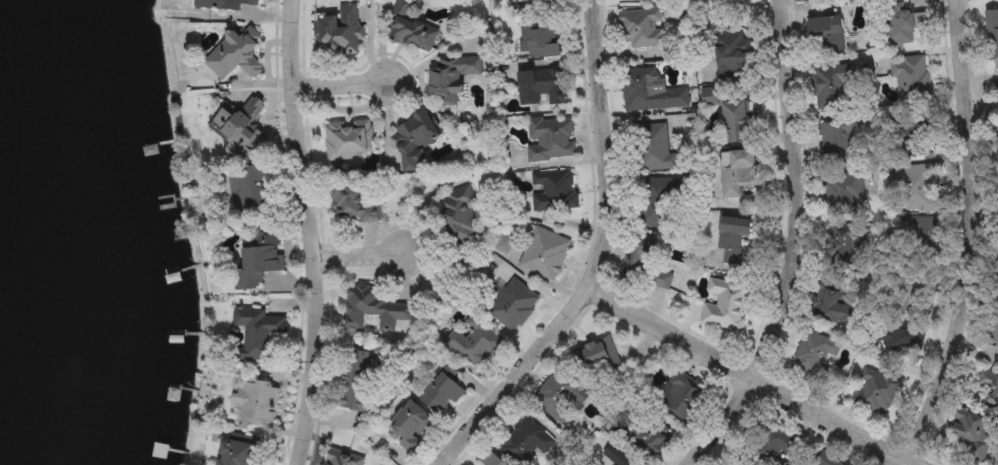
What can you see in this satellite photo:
building: (804, 0)
building: (734, 1)
building: (224, 4)
building: (901, 27)
building: (409, 29)
building: (641, 31)
building: (338, 32)
building: (824, 35)
building: (541, 42)
building: (993, 43)
building: (732, 55)
building: (234, 57)
building: (449, 79)
building: (911, 79)
road: (338, 85)
building: (831, 86)
building: (542, 87)
building: (650, 92)
building: (733, 114)
building: (242, 129)
building: (915, 136)
building: (551, 139)
building: (349, 140)
building: (413, 142)
building: (837, 142)
building: (655, 149)
building: (736, 173)
building: (252, 188)
building: (917, 189)
building: (554, 191)
building: (842, 195)
building: (658, 204)
building: (355, 205)
building: (460, 214)
road: (303, 233)
road: (965, 236)
building: (733, 238)
building: (916, 240)
road: (789, 244)
building: (844, 246)
building: (544, 254)
road: (354, 256)
road: (598, 258)
building: (259, 259)
building: (646, 265)
building: (513, 307)
building: (724, 307)
building: (836, 307)
building: (372, 309)
building: (904, 318)
building: (259, 333)
building: (473, 343)
building: (595, 355)
building: (814, 357)
road: (740, 373)
building: (357, 381)
building: (989, 386)
building: (874, 389)
building: (440, 394)
building: (558, 397)
building: (682, 399)
building: (257, 406)
building: (410, 426)
building: (972, 431)
building: (526, 439)
building: (650, 440)
building: (773, 448)
building: (239, 454)
building: (617, 456)
building: (341, 460)
building: (492, 461)
road: (895, 463)
road: (898, 463)

